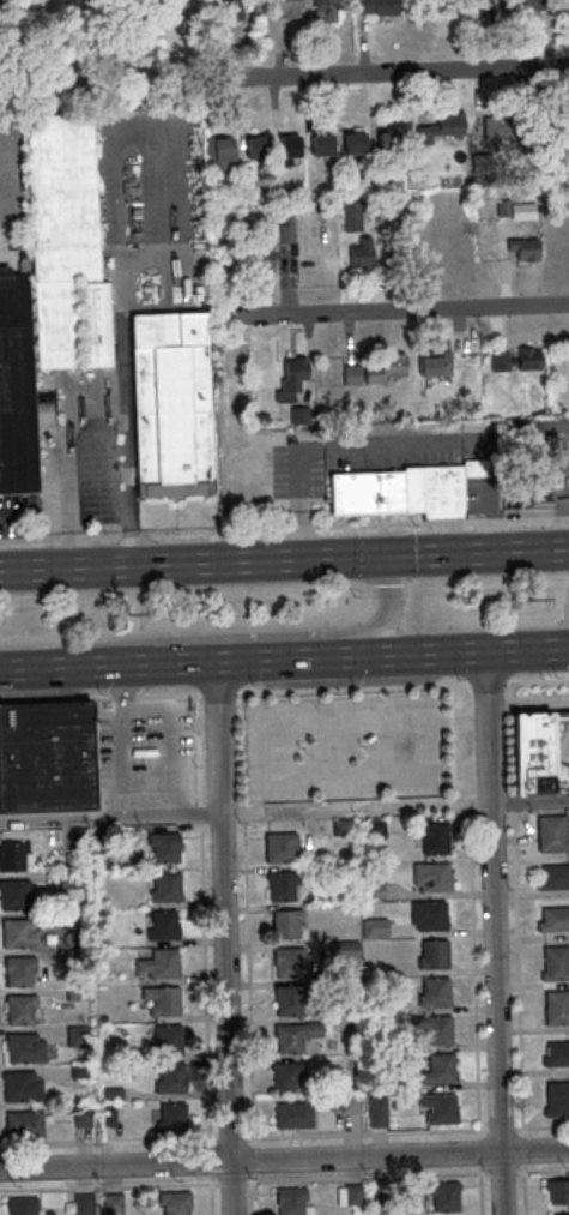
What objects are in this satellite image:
building: (564, 2)
building: (527, 5)
building: (381, 7)
building: (226, 8)
building: (285, 8)
building: (327, 10)
road: (389, 73)
building: (504, 128)
building: (443, 131)
building: (383, 140)
building: (351, 142)
building: (317, 143)
building: (253, 145)
building: (285, 145)
building: (214, 150)
building: (289, 227)
building: (63, 245)
building: (359, 247)
building: (523, 249)
building: (262, 259)
road: (398, 309)
building: (568, 353)
building: (517, 359)
building: (431, 362)
building: (386, 367)
building: (352, 374)
road: (101, 377)
building: (291, 379)
building: (13, 389)
building: (168, 404)
building: (531, 489)
building: (398, 491)
road: (561, 519)
road: (527, 521)
road: (489, 522)
road: (394, 525)
road: (298, 528)
road: (216, 531)
road: (133, 535)
road: (101, 537)
road: (68, 539)
road: (29, 541)
traffic signals: (383, 554)
road: (284, 558)
power tower: (533, 605)
power tower: (129, 619)
road: (237, 634)
road: (470, 651)
road: (273, 658)
road: (89, 666)
road: (537, 679)
road: (485, 680)
road: (333, 691)
road: (98, 696)
road: (512, 739)
road: (450, 741)
parking lot: (341, 745)
road: (274, 748)
building: (535, 748)
road: (198, 750)
road: (241, 751)
parking lot: (143, 754)
building: (44, 757)
road: (144, 788)
road: (514, 805)
road: (460, 806)
road: (284, 810)
road: (243, 814)
road: (199, 816)
building: (343, 826)
building: (376, 828)
building: (551, 831)
building: (435, 837)
building: (74, 843)
building: (280, 846)
building: (162, 847)
building: (12, 855)
building: (432, 876)
building: (553, 876)
building: (67, 879)
building: (282, 884)
building: (163, 886)
building: (370, 889)
building: (11, 894)
building: (429, 914)
building: (553, 916)
building: (69, 920)
building: (286, 921)
building: (161, 926)
building: (375, 927)
road: (494, 932)
building: (17, 933)
road: (224, 937)
building: (343, 948)
building: (432, 952)
building: (97, 954)
building: (71, 958)
building: (556, 961)
building: (292, 962)
building: (157, 964)
building: (17, 970)
road: (248, 982)
road: (205, 984)
road: (473, 990)
building: (434, 991)
building: (73, 993)
building: (159, 1000)
building: (289, 1000)
building: (371, 1006)
building: (556, 1006)
building: (17, 1008)
road: (520, 1013)
building: (101, 1017)
building: (435, 1027)
building: (74, 1035)
building: (293, 1035)
building: (164, 1040)
building: (352, 1043)
building: (22, 1047)
building: (557, 1052)
building: (437, 1069)
building: (77, 1070)
building: (289, 1076)
building: (168, 1077)
building: (19, 1085)
building: (110, 1093)
building: (557, 1097)
building: (347, 1101)
building: (438, 1107)
building: (377, 1108)
building: (107, 1114)
building: (293, 1114)
building: (79, 1115)
building: (169, 1119)
building: (23, 1123)
road: (407, 1132)
road: (231, 1136)
road: (108, 1141)
road: (253, 1156)
road: (210, 1159)
road: (284, 1160)
road: (528, 1171)
road: (367, 1175)
road: (231, 1179)
road: (109, 1186)
road: (482, 1189)
building: (557, 1191)
road: (255, 1192)
road: (211, 1193)
building: (351, 1195)
building: (442, 1196)
building: (289, 1201)
building: (172, 1202)
building: (80, 1203)
building: (110, 1204)
building: (381, 1204)
building: (19, 1205)
building: (559, 1214)

